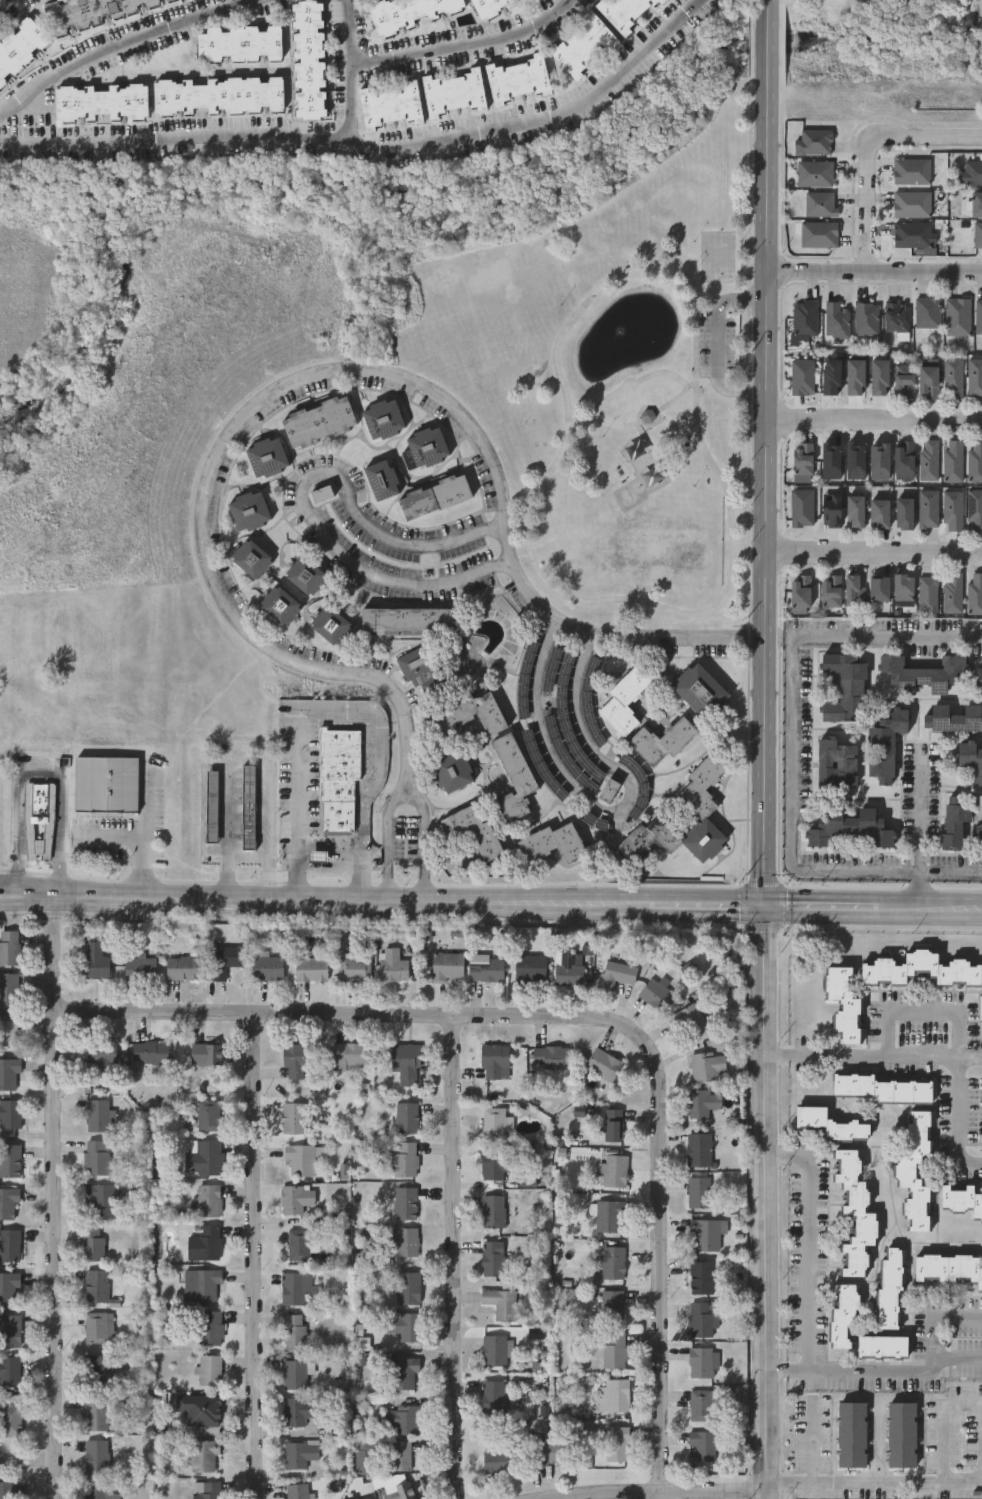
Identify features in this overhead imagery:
building: (166, 0)
road: (3, 2)
building: (490, 6)
building: (91, 11)
building: (409, 12)
building: (626, 12)
building: (239, 42)
building: (584, 44)
road: (125, 45)
road: (459, 45)
building: (20, 47)
building: (308, 58)
road: (348, 73)
building: (517, 76)
building: (454, 91)
building: (217, 94)
building: (101, 101)
building: (391, 104)
building: (812, 141)
road: (374, 147)
road: (881, 157)
building: (910, 171)
building: (813, 173)
building: (971, 173)
building: (819, 204)
building: (910, 204)
building: (976, 204)
building: (818, 233)
building: (911, 234)
building: (977, 235)
park: (717, 256)
road: (874, 283)
building: (926, 312)
building: (895, 316)
building: (956, 316)
building: (978, 316)
building: (805, 317)
building: (865, 318)
building: (835, 319)
parking lot: (719, 344)
road: (720, 344)
road: (330, 374)
building: (974, 376)
building: (902, 378)
building: (952, 378)
building: (926, 382)
road: (626, 383)
park: (616, 388)
building: (382, 417)
road: (645, 417)
building: (648, 417)
building: (317, 420)
road: (873, 430)
building: (424, 446)
road: (763, 454)
building: (265, 456)
building: (802, 458)
building: (928, 459)
building: (903, 460)
building: (953, 460)
building: (974, 460)
building: (381, 478)
building: (324, 495)
building: (433, 496)
road: (748, 507)
building: (926, 509)
building: (249, 510)
building: (951, 510)
building: (974, 510)
building: (853, 511)
building: (902, 513)
building: (877, 514)
road: (520, 550)
road: (419, 552)
road: (872, 553)
building: (251, 558)
road: (360, 573)
building: (305, 575)
building: (901, 586)
building: (878, 589)
building: (853, 590)
building: (830, 591)
building: (951, 592)
building: (926, 593)
building: (975, 593)
building: (799, 594)
road: (580, 599)
building: (279, 605)
building: (406, 619)
building: (330, 625)
road: (882, 636)
building: (421, 660)
building: (926, 673)
building: (978, 681)
building: (844, 687)
building: (700, 690)
building: (625, 699)
road: (341, 707)
building: (469, 711)
building: (953, 718)
building: (662, 740)
building: (884, 744)
road: (248, 759)
building: (970, 759)
building: (837, 762)
road: (40, 766)
building: (452, 772)
building: (513, 777)
building: (338, 781)
building: (107, 786)
building: (609, 790)
building: (212, 808)
building: (702, 808)
building: (248, 809)
road: (920, 809)
road: (603, 810)
road: (790, 815)
building: (39, 816)
building: (981, 822)
building: (955, 823)
building: (850, 828)
building: (472, 830)
road: (142, 833)
road: (108, 835)
road: (429, 843)
building: (552, 843)
road: (392, 844)
road: (247, 854)
road: (950, 869)
road: (330, 871)
road: (919, 890)
road: (490, 904)
traffic signals: (764, 909)
building: (9, 944)
building: (95, 957)
building: (223, 957)
building: (391, 962)
building: (447, 963)
building: (181, 964)
building: (530, 964)
building: (139, 965)
building: (267, 965)
building: (569, 965)
building: (310, 966)
building: (354, 966)
building: (485, 966)
building: (919, 969)
building: (618, 971)
building: (7, 986)
building: (658, 991)
building: (843, 1003)
building: (980, 1007)
road: (344, 1014)
road: (922, 1016)
building: (688, 1017)
building: (8, 1027)
building: (146, 1049)
building: (205, 1051)
building: (350, 1051)
building: (550, 1054)
building: (100, 1055)
building: (494, 1056)
building: (293, 1057)
road: (861, 1058)
road: (969, 1059)
building: (405, 1060)
building: (603, 1061)
building: (708, 1064)
building: (9, 1070)
building: (878, 1089)
building: (703, 1099)
building: (11, 1111)
building: (207, 1111)
building: (98, 1113)
building: (292, 1114)
building: (406, 1115)
building: (497, 1120)
building: (613, 1122)
building: (830, 1124)
road: (956, 1127)
building: (699, 1146)
building: (96, 1154)
building: (202, 1155)
building: (299, 1156)
building: (403, 1156)
building: (10, 1158)
building: (497, 1161)
building: (615, 1168)
building: (915, 1169)
building: (700, 1189)
building: (295, 1195)
building: (100, 1196)
building: (207, 1197)
road: (51, 1198)
building: (962, 1199)
building: (405, 1200)
building: (8, 1201)
road: (766, 1203)
building: (493, 1208)
building: (610, 1212)
building: (854, 1213)
building: (708, 1230)
building: (403, 1237)
building: (91, 1239)
building: (204, 1241)
building: (299, 1241)
building: (9, 1242)
road: (809, 1244)
building: (493, 1255)
road: (253, 1256)
road: (448, 1257)
building: (613, 1259)
road: (662, 1260)
building: (948, 1268)
building: (702, 1273)
building: (96, 1282)
building: (200, 1282)
building: (294, 1284)
building: (9, 1285)
building: (408, 1285)
building: (889, 1289)
building: (501, 1299)
building: (613, 1303)
building: (705, 1316)
building: (843, 1317)
building: (405, 1323)
building: (95, 1324)
building: (210, 1324)
building: (10, 1327)
building: (294, 1328)
road: (936, 1340)
building: (494, 1347)
building: (615, 1347)
building: (882, 1347)
building: (701, 1359)
building: (100, 1367)
building: (208, 1367)
building: (9, 1368)
building: (403, 1370)
building: (294, 1371)
road: (856, 1373)
building: (614, 1393)
building: (493, 1394)
building: (701, 1401)
building: (201, 1407)
building: (298, 1407)
building: (93, 1410)
building: (10, 1417)
building: (402, 1417)
building: (852, 1435)
building: (902, 1435)
road: (948, 1435)
building: (617, 1441)
building: (702, 1443)
building: (553, 1446)
building: (299, 1450)
building: (96, 1452)
building: (201, 1452)
building: (399, 1452)
road: (815, 1452)
building: (502, 1457)
road: (27, 1464)
building: (206, 1488)
building: (10, 1489)
building: (98, 1490)
building: (297, 1490)
building: (399, 1490)
road: (872, 1492)
building: (358, 1495)
road: (698, 1495)

